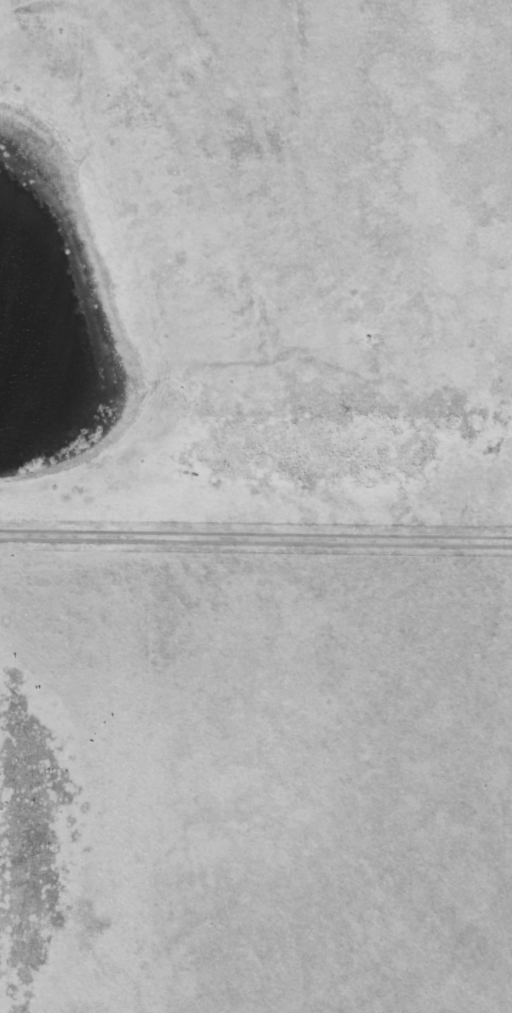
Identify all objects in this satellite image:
road: (256, 537)

